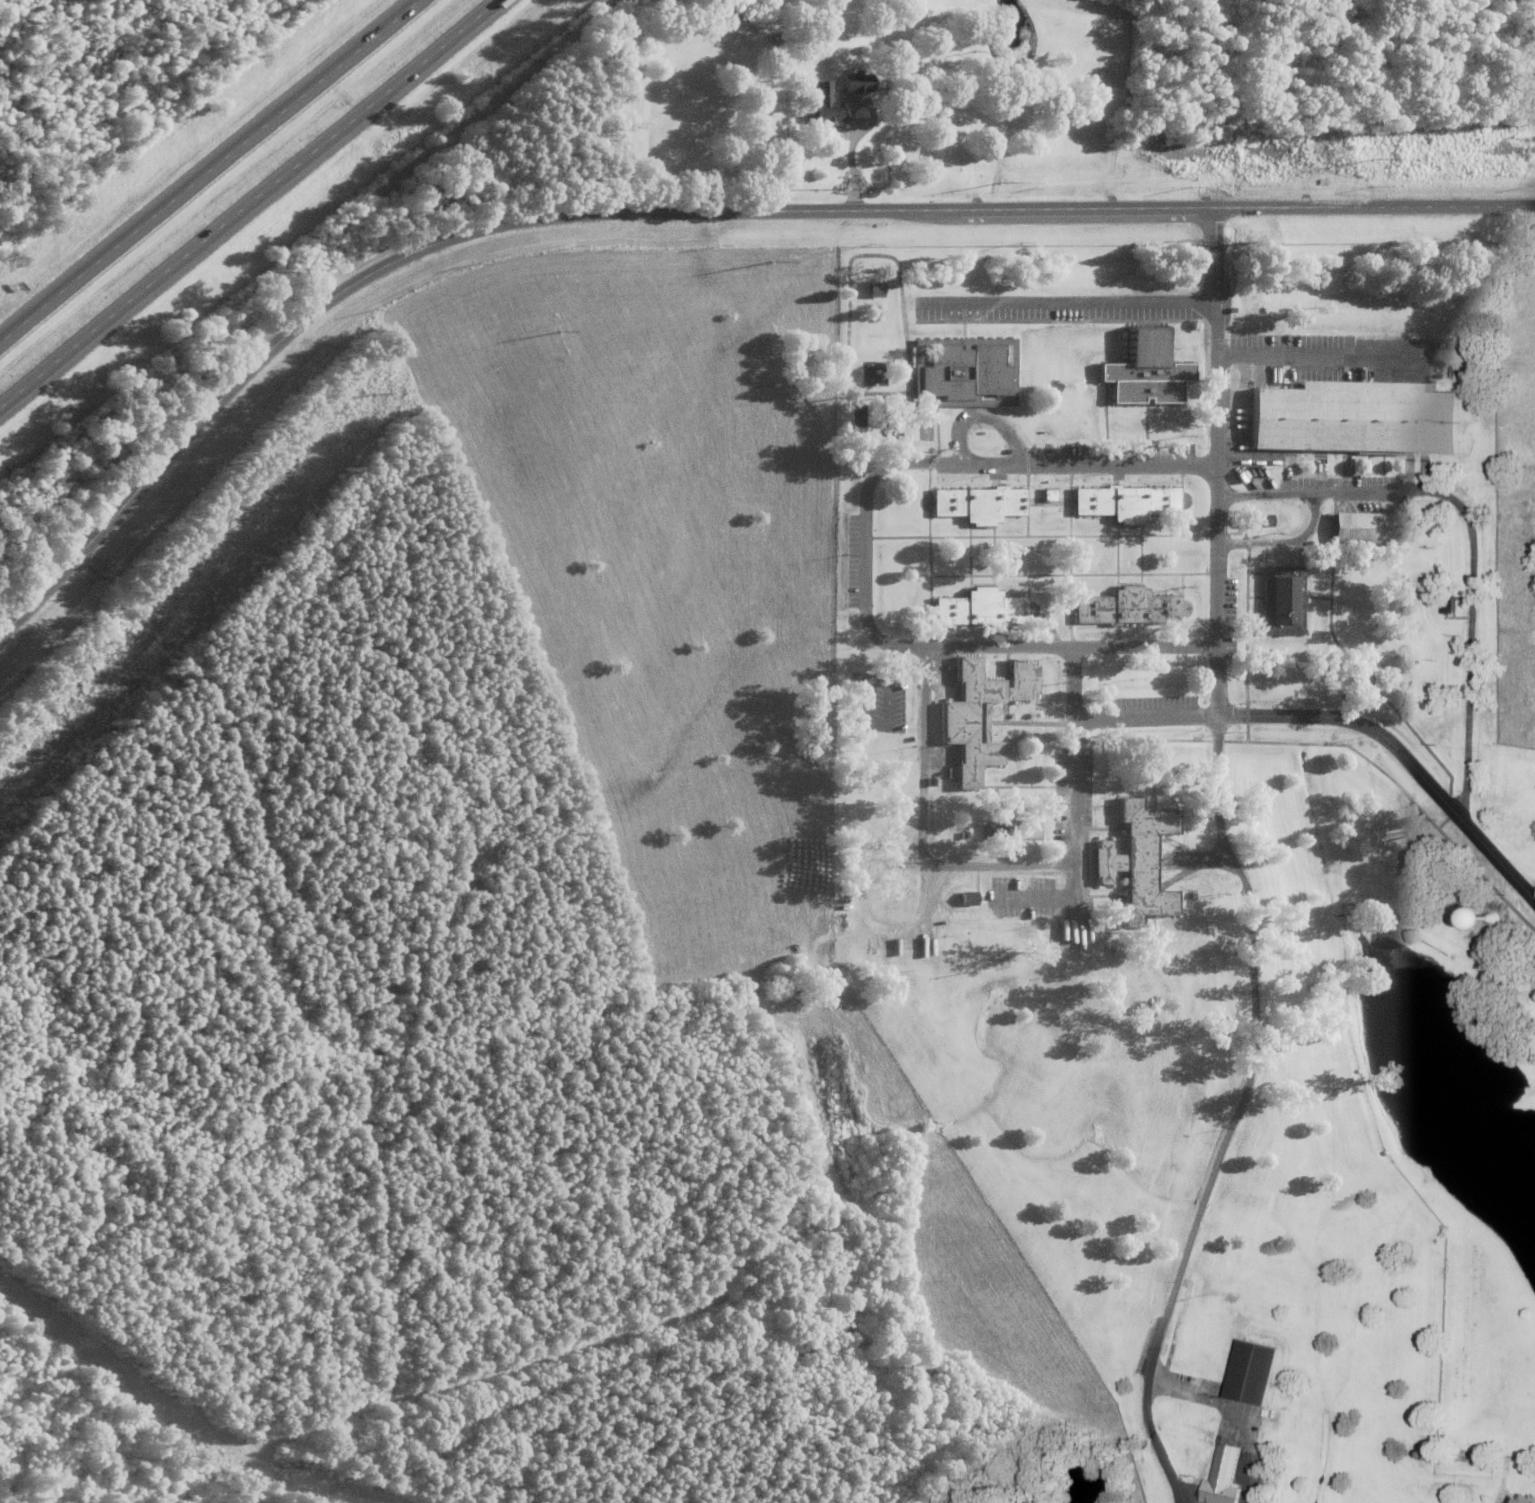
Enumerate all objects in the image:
building: (856, 81)
building: (824, 104)
road: (848, 159)
road: (209, 170)
road: (249, 202)
road: (687, 208)
building: (873, 289)
road: (1066, 301)
road: (1321, 355)
building: (1145, 368)
building: (963, 371)
building: (1355, 417)
road: (1215, 461)
building: (1046, 494)
building: (1123, 502)
building: (977, 503)
building: (1256, 519)
building: (1367, 527)
road: (1472, 537)
road: (1283, 542)
road: (863, 553)
building: (1281, 599)
building: (1124, 607)
building: (978, 608)
building: (978, 713)
road: (1340, 718)
road: (1072, 773)
park: (1028, 829)
road: (921, 830)
building: (994, 830)
building: (1134, 862)
building: (895, 885)
building: (966, 898)
road: (1032, 899)
road: (1073, 915)
building: (1493, 917)
water tower: (1493, 920)
road: (1234, 1114)
building: (1251, 1373)
building: (1224, 1476)

